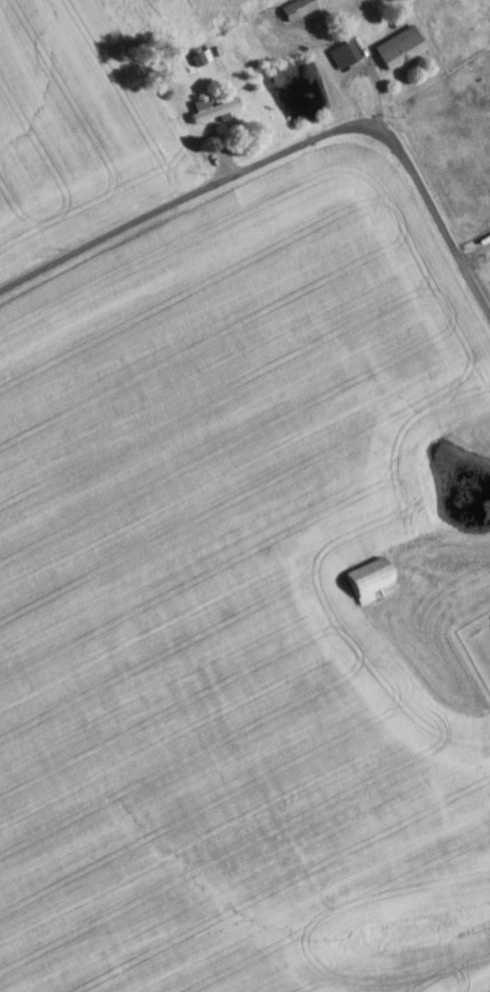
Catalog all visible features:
building: (303, 8)
building: (404, 47)
building: (348, 54)
building: (206, 57)
building: (217, 108)
road: (283, 151)
building: (375, 580)

